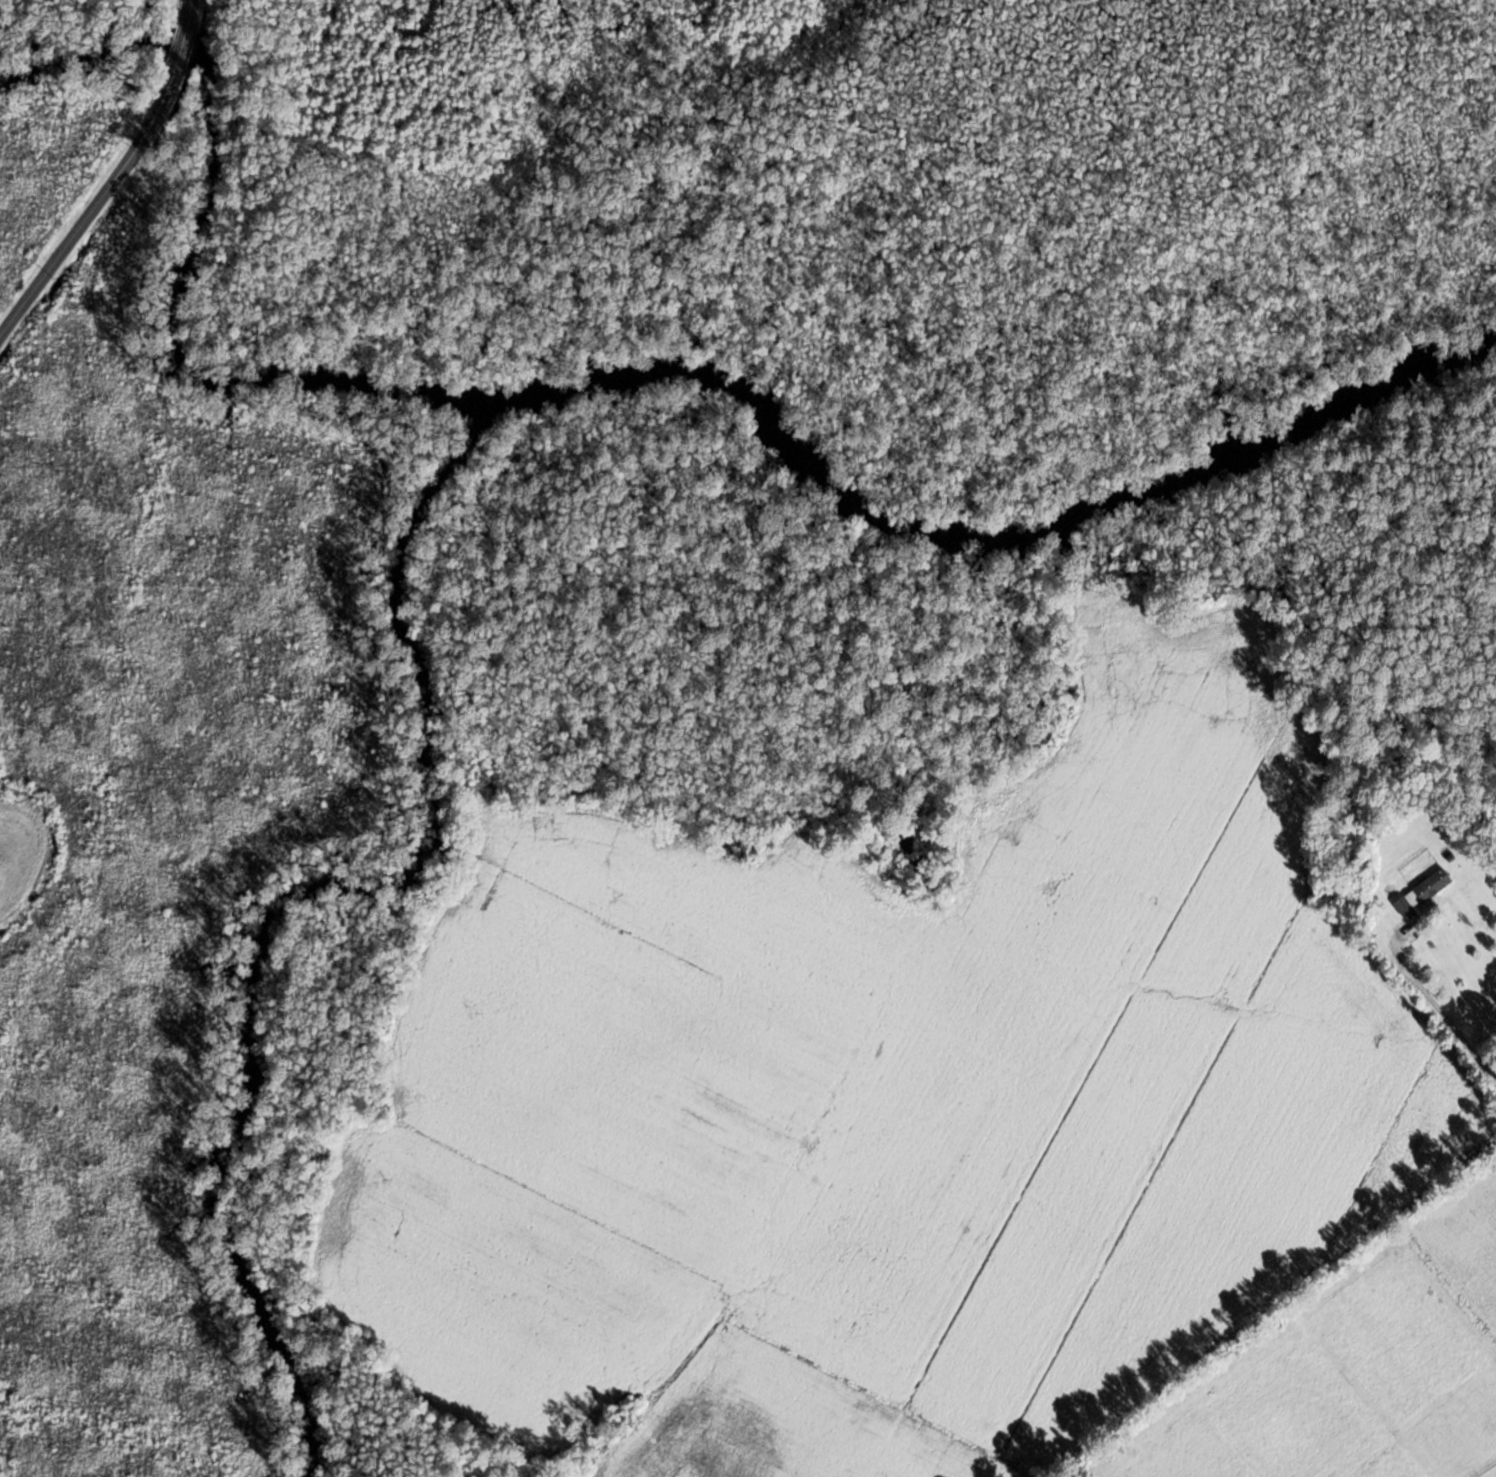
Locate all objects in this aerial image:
road: (115, 178)
building: (1434, 884)
building: (1404, 906)

